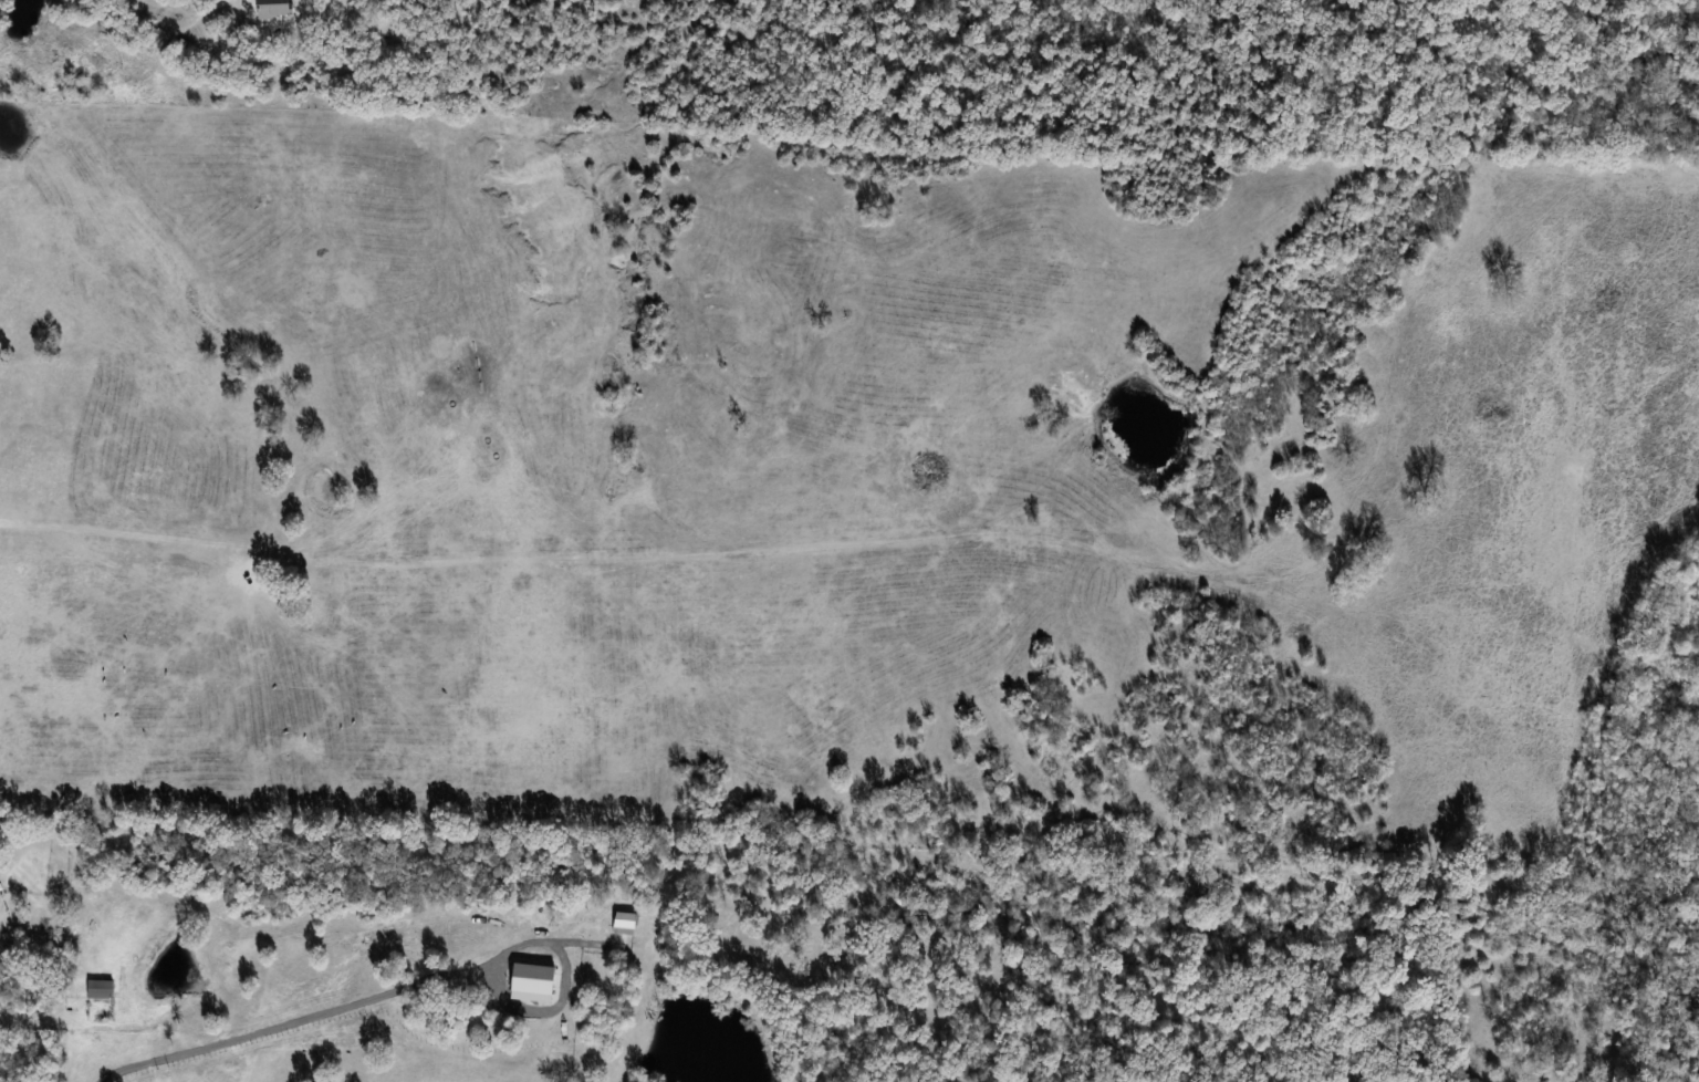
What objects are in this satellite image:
building: (97, 989)
road: (294, 1021)

